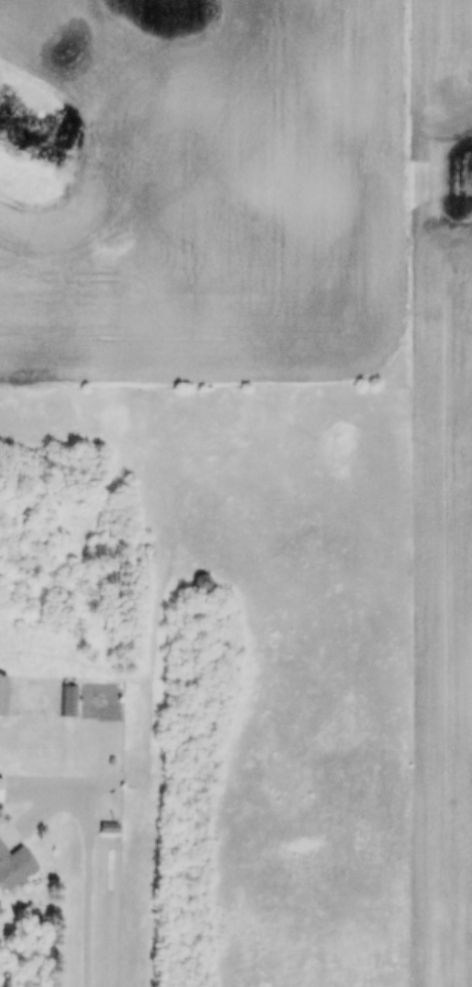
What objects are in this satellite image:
building: (197, 583)
building: (1, 690)
building: (70, 702)
building: (3, 791)
building: (108, 831)
road: (93, 865)
building: (14, 868)

